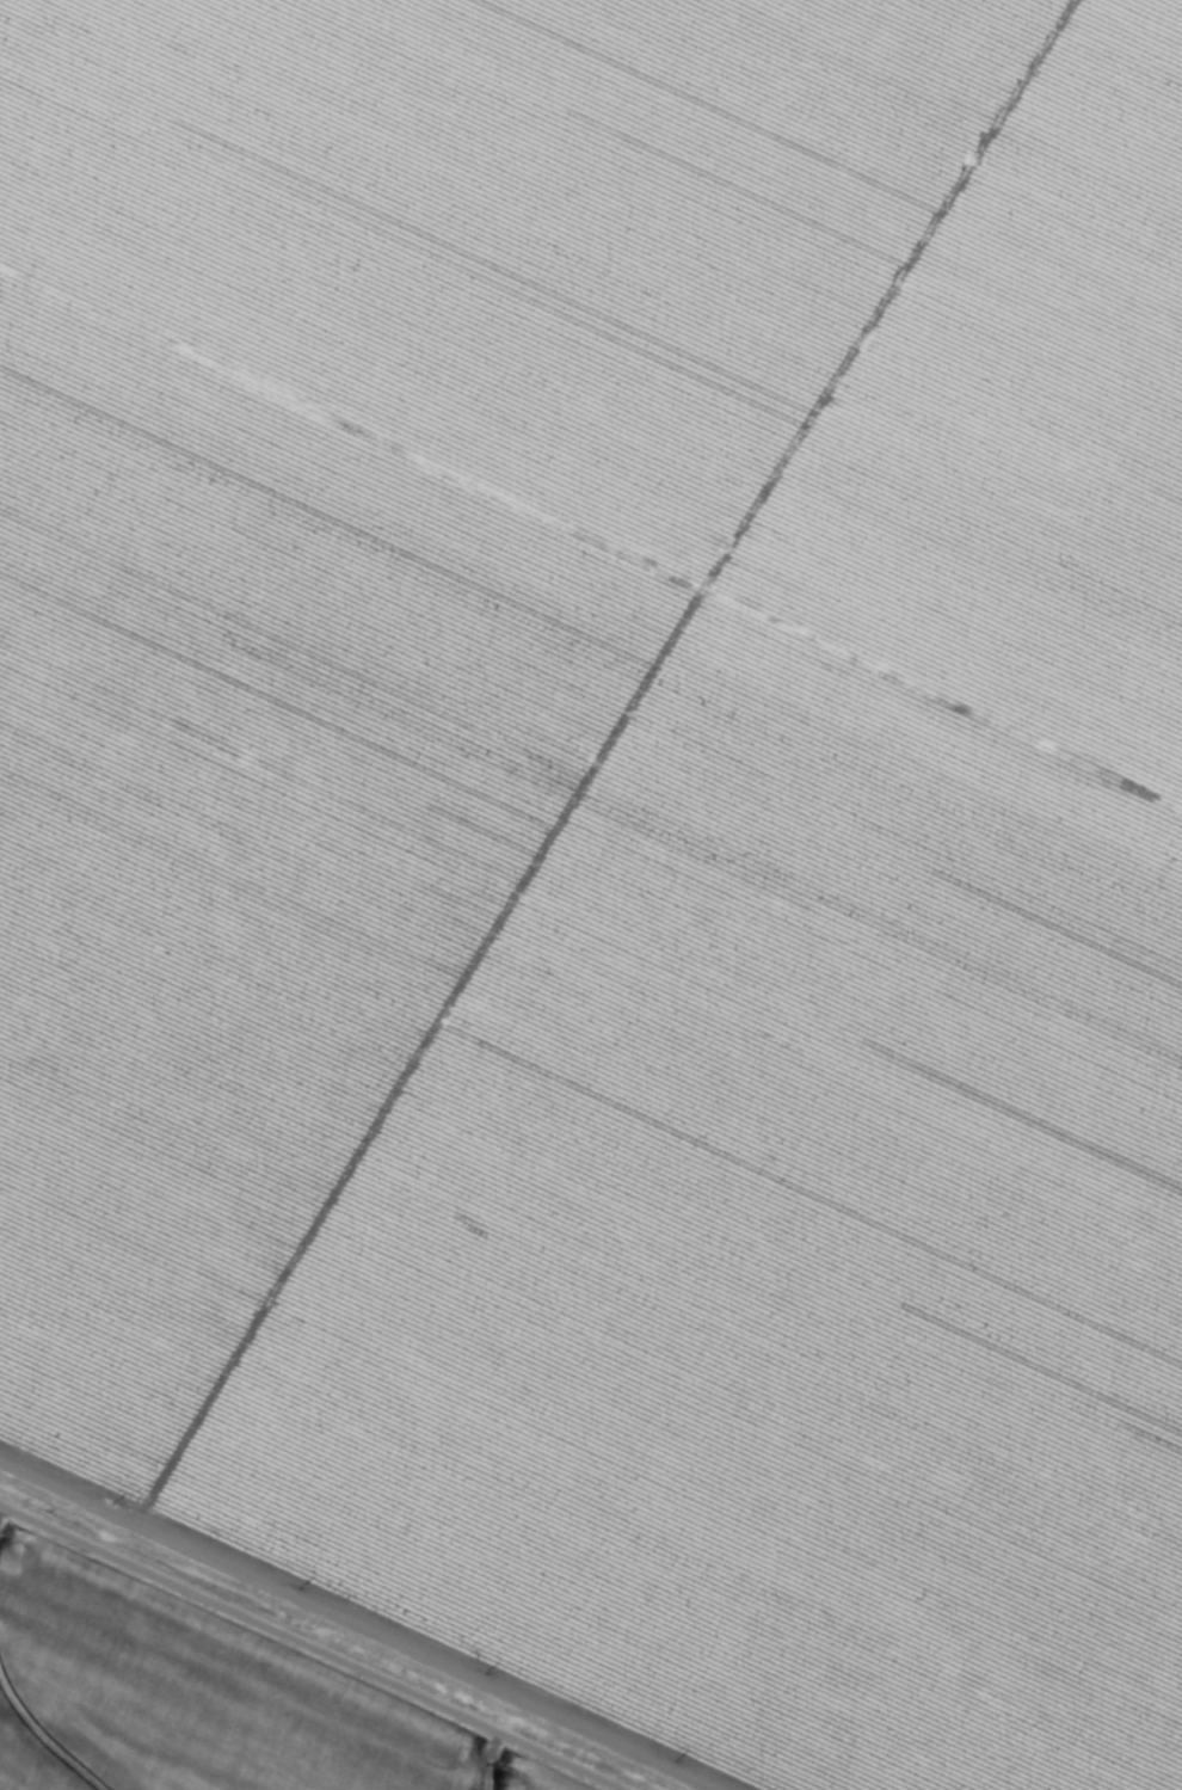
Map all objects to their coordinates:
crop: (591, 894)

